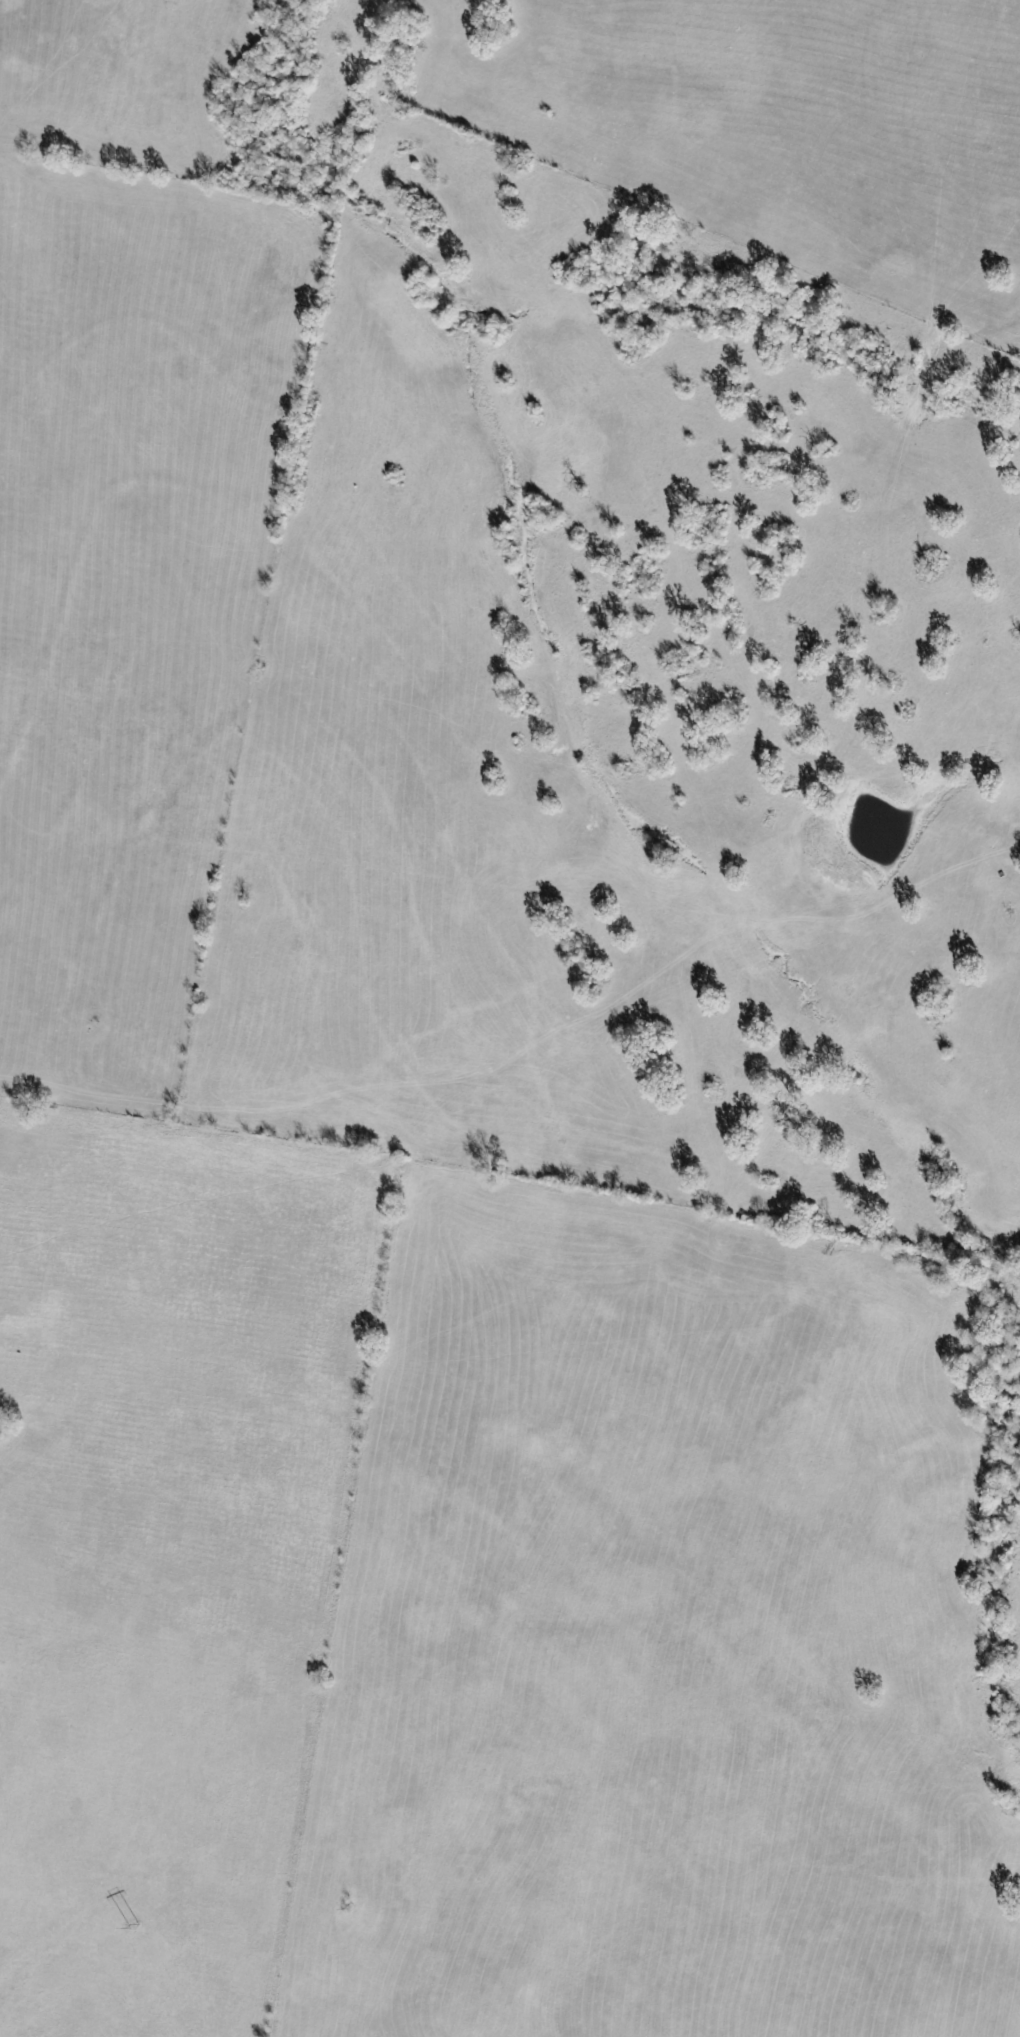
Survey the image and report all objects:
power tower: (136, 1920)

